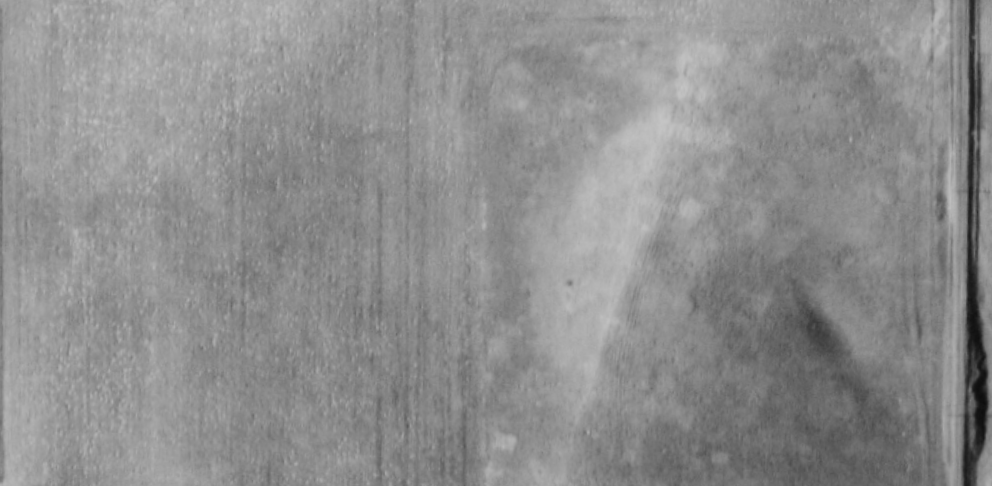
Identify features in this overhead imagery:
road: (964, 243)

